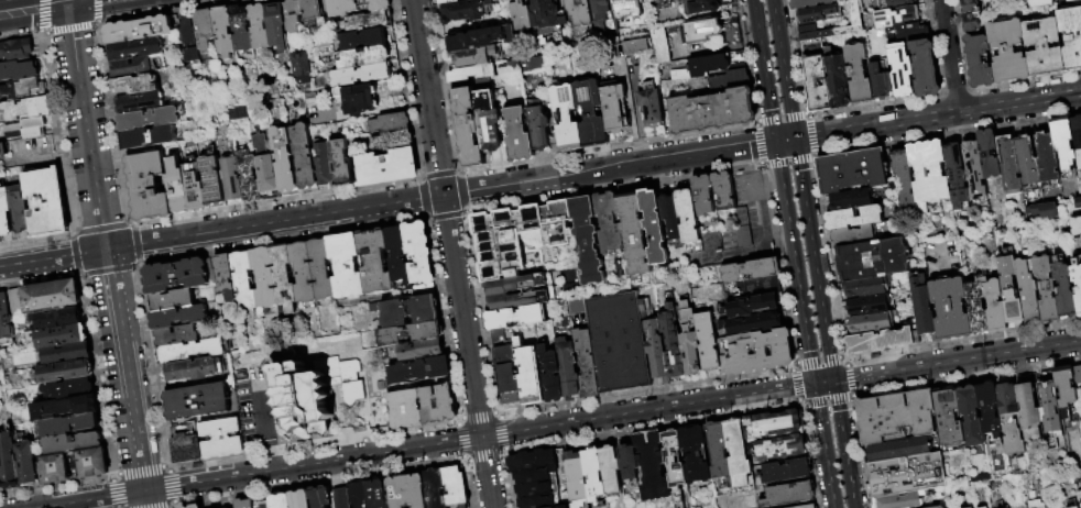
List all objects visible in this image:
traffic signals: (70, 0)
building: (563, 0)
building: (1070, 0)
building: (447, 1)
building: (897, 2)
building: (1038, 2)
building: (810, 3)
building: (376, 4)
road: (34, 5)
building: (705, 5)
building: (969, 5)
building: (343, 7)
building: (625, 8)
building: (466, 10)
building: (580, 12)
building: (314, 13)
building: (817, 13)
building: (854, 13)
building: (293, 15)
building: (521, 15)
building: (895, 15)
building: (547, 21)
building: (368, 22)
building: (607, 22)
building: (969, 22)
building: (277, 25)
building: (260, 26)
building: (242, 29)
building: (139, 30)
building: (206, 30)
building: (225, 31)
building: (711, 32)
building: (826, 32)
building: (910, 32)
building: (1070, 36)
building: (482, 37)
building: (363, 40)
building: (192, 43)
building: (657, 43)
building: (633, 46)
building: (1042, 46)
building: (17, 49)
building: (137, 49)
building: (1007, 49)
building: (473, 56)
road: (948, 56)
building: (365, 57)
building: (979, 60)
building: (534, 63)
building: (710, 65)
building: (132, 67)
building: (301, 67)
building: (924, 68)
road: (784, 69)
building: (900, 69)
building: (19, 70)
road: (764, 70)
building: (472, 73)
building: (858, 74)
building: (362, 75)
building: (815, 76)
building: (837, 78)
building: (730, 81)
building: (880, 81)
building: (137, 85)
building: (23, 88)
building: (359, 100)
building: (141, 101)
building: (651, 103)
building: (614, 107)
building: (28, 108)
building: (710, 111)
building: (591, 113)
road: (937, 115)
building: (567, 118)
building: (151, 119)
building: (391, 123)
building: (489, 123)
road: (86, 125)
building: (468, 126)
building: (539, 128)
building: (26, 129)
building: (518, 136)
building: (150, 137)
building: (1077, 139)
traffic signals: (795, 140)
building: (394, 141)
road: (785, 141)
building: (1063, 142)
traffic signals: (776, 143)
building: (2, 152)
road: (669, 154)
building: (989, 154)
building: (306, 156)
building: (1046, 157)
building: (1026, 159)
building: (285, 162)
building: (342, 163)
building: (265, 165)
building: (325, 165)
building: (387, 167)
building: (1009, 167)
building: (972, 168)
building: (851, 170)
building: (928, 170)
building: (954, 174)
building: (242, 178)
building: (903, 178)
building: (214, 181)
building: (149, 186)
road: (503, 187)
building: (724, 190)
building: (178, 191)
building: (703, 194)
building: (851, 200)
building: (46, 202)
building: (1078, 202)
building: (20, 210)
building: (1039, 210)
building: (4, 213)
building: (671, 213)
building: (688, 216)
building: (853, 218)
parking lot: (758, 220)
building: (608, 222)
road: (274, 223)
building: (1075, 225)
building: (654, 227)
road: (100, 228)
building: (738, 233)
building: (861, 234)
building: (518, 235)
building: (634, 235)
building: (588, 240)
road: (132, 243)
building: (1079, 243)
road: (76, 252)
building: (419, 253)
road: (451, 254)
building: (400, 256)
road: (52, 258)
road: (814, 259)
building: (874, 259)
building: (375, 261)
road: (795, 263)
building: (347, 265)
road: (108, 268)
building: (321, 268)
building: (752, 269)
building: (304, 272)
building: (283, 274)
building: (181, 275)
building: (265, 277)
building: (227, 278)
building: (245, 281)
building: (1077, 281)
building: (758, 287)
building: (866, 287)
building: (1063, 288)
building: (1027, 289)
building: (1046, 289)
building: (1009, 290)
building: (534, 294)
building: (52, 296)
building: (173, 299)
building: (17, 302)
building: (870, 305)
building: (994, 305)
building: (752, 306)
building: (922, 307)
building: (976, 307)
building: (411, 308)
building: (950, 308)
building: (179, 317)
building: (516, 317)
building: (4, 319)
building: (57, 319)
building: (872, 322)
building: (753, 323)
building: (412, 333)
building: (61, 336)
building: (177, 336)
building: (690, 340)
building: (882, 340)
building: (619, 341)
building: (708, 341)
building: (671, 342)
building: (655, 347)
building: (421, 350)
building: (190, 351)
building: (755, 352)
building: (67, 353)
road: (957, 361)
building: (586, 363)
road: (151, 365)
building: (568, 366)
building: (506, 368)
building: (194, 369)
road: (124, 371)
building: (421, 371)
building: (66, 372)
road: (97, 374)
building: (529, 374)
building: (552, 374)
building: (1077, 374)
traffic signals: (833, 380)
road: (823, 382)
traffic signals: (815, 384)
building: (70, 388)
building: (1064, 389)
road: (834, 390)
building: (315, 394)
building: (1007, 398)
building: (198, 401)
building: (437, 404)
building: (66, 407)
building: (1050, 407)
building: (406, 408)
building: (1029, 409)
building: (989, 410)
road: (263, 413)
building: (970, 413)
building: (895, 415)
road: (478, 416)
building: (947, 417)
building: (69, 424)
building: (773, 424)
road: (499, 432)
building: (221, 438)
road: (479, 438)
road: (461, 439)
building: (1013, 439)
building: (73, 443)
road: (315, 445)
road: (825, 445)
building: (187, 448)
building: (896, 448)
building: (782, 449)
building: (729, 452)
building: (695, 453)
road: (844, 454)
road: (271, 455)
road: (483, 455)
building: (629, 460)
building: (9, 461)
building: (28, 463)
building: (91, 463)
building: (534, 465)
building: (610, 467)
building: (653, 467)
building: (58, 468)
road: (141, 471)
building: (787, 471)
building: (594, 473)
building: (907, 474)
road: (319, 479)
building: (577, 479)
building: (1, 482)
road: (168, 486)
building: (435, 487)
building: (456, 487)
building: (535, 488)
road: (118, 492)
building: (408, 492)
building: (359, 494)
building: (378, 494)
building: (789, 495)
building: (321, 497)
building: (341, 498)
road: (92, 499)
road: (145, 499)
building: (301, 499)
building: (281, 500)
building: (898, 500)
building: (538, 501)
building: (1036, 503)
building: (244, 504)
building: (264, 505)
road: (160, 506)
road: (172, 506)
building: (197, 506)
building: (807, 506)
building: (185, 507)
building: (941, 507)
building: (968, 507)
building: (983, 507)
building: (1073, 507)

